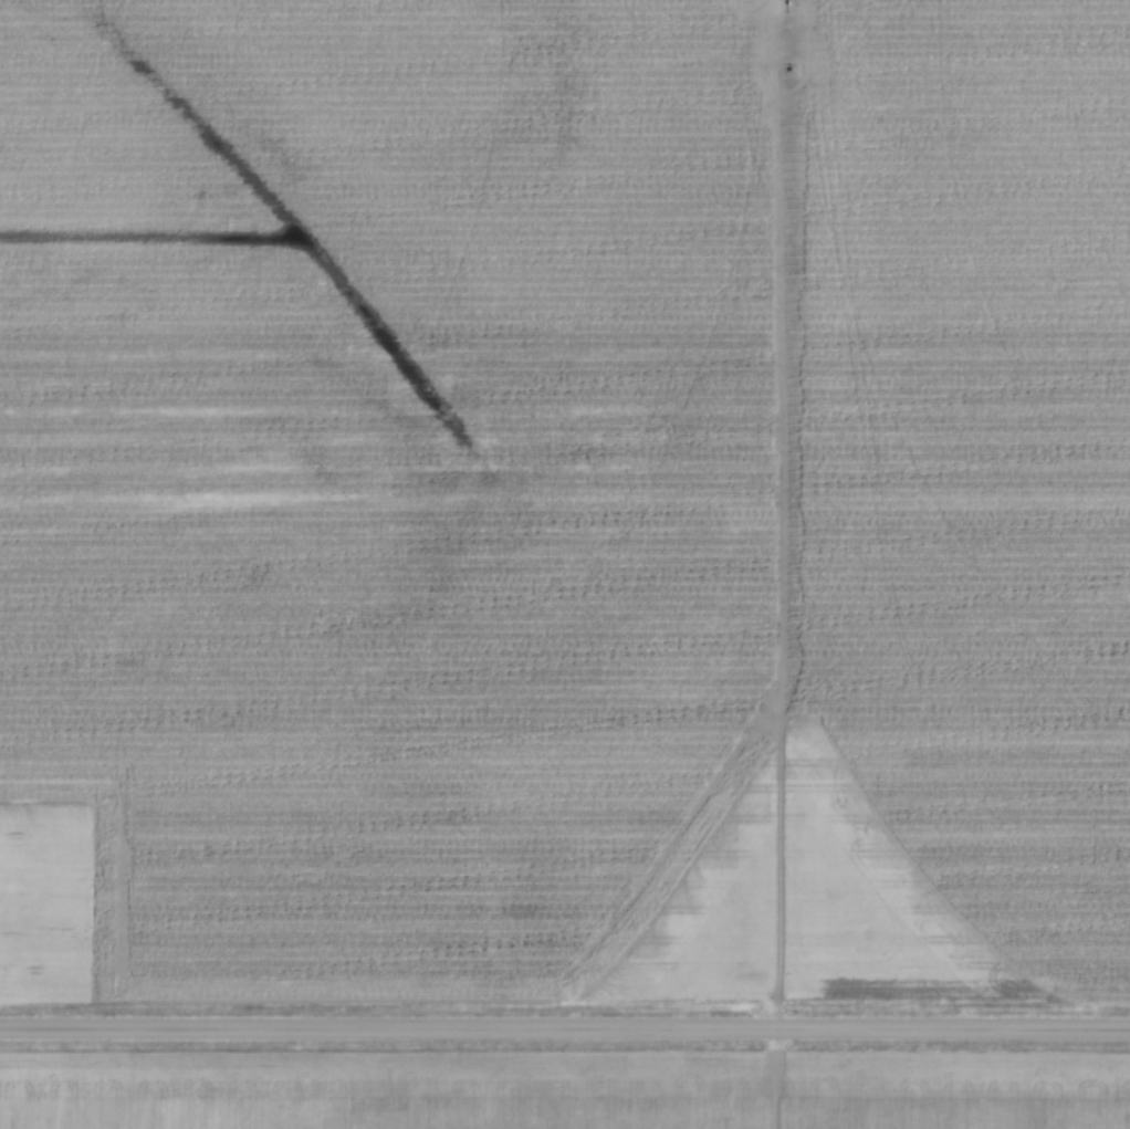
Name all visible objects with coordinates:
road: (565, 1029)

